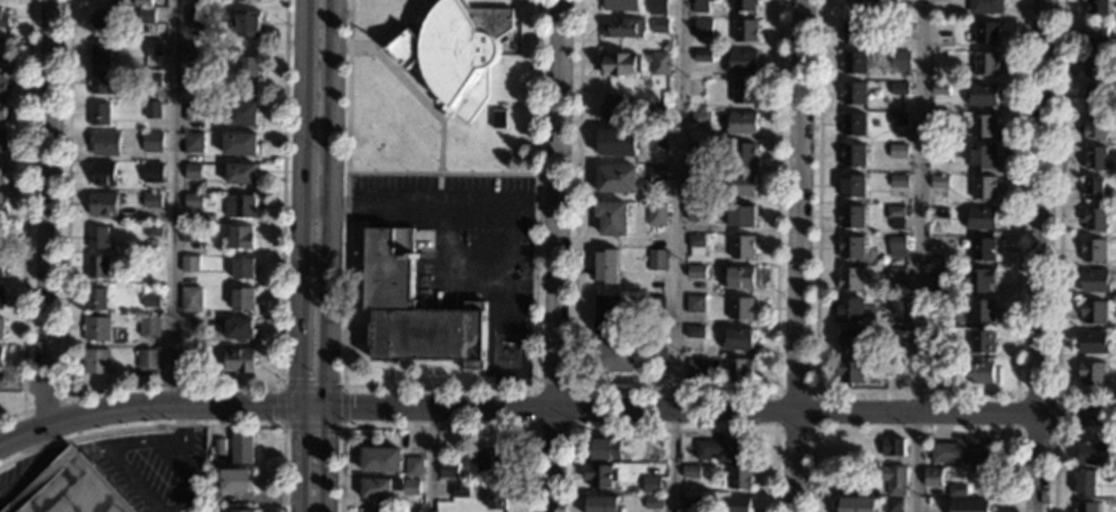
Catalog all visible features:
building: (251, 0)
building: (142, 3)
building: (868, 4)
building: (619, 6)
building: (699, 6)
building: (744, 6)
building: (985, 7)
building: (1096, 7)
building: (657, 8)
building: (881, 12)
road: (526, 13)
building: (148, 17)
building: (201, 18)
building: (105, 19)
building: (4, 20)
building: (247, 24)
building: (659, 26)
building: (622, 28)
building: (702, 28)
building: (898, 30)
building: (942, 30)
building: (744, 31)
building: (1095, 32)
building: (854, 33)
building: (986, 33)
building: (153, 47)
road: (360, 47)
building: (3, 48)
building: (100, 51)
building: (455, 53)
building: (701, 56)
building: (715, 56)
building: (899, 61)
building: (742, 63)
building: (195, 64)
building: (618, 64)
building: (659, 64)
building: (852, 64)
building: (986, 64)
building: (1092, 66)
building: (247, 70)
building: (151, 79)
building: (3, 81)
building: (104, 83)
road: (408, 86)
building: (898, 89)
building: (940, 89)
building: (743, 91)
building: (851, 95)
building: (981, 95)
building: (1092, 96)
building: (664, 97)
road: (302, 105)
road: (332, 106)
building: (613, 108)
building: (2, 111)
building: (152, 111)
building: (194, 111)
building: (243, 112)
building: (99, 115)
building: (656, 115)
building: (500, 118)
building: (700, 118)
building: (898, 120)
building: (938, 120)
building: (741, 123)
building: (851, 124)
building: (983, 126)
building: (1093, 128)
building: (657, 138)
building: (152, 141)
building: (3, 142)
building: (193, 142)
building: (618, 142)
building: (104, 143)
building: (239, 143)
building: (697, 149)
building: (898, 152)
building: (742, 154)
building: (938, 154)
building: (851, 155)
building: (981, 157)
building: (1095, 160)
building: (2, 172)
building: (152, 172)
building: (192, 172)
road: (441, 172)
building: (103, 173)
building: (240, 173)
building: (656, 175)
building: (615, 179)
building: (697, 181)
building: (898, 182)
building: (938, 183)
building: (740, 186)
building: (850, 186)
building: (983, 188)
building: (1092, 189)
building: (151, 200)
road: (174, 201)
building: (192, 201)
road: (477, 201)
building: (2, 204)
building: (101, 204)
building: (242, 207)
road: (315, 210)
road: (49, 211)
building: (894, 213)
road: (533, 214)
building: (695, 214)
building: (655, 215)
building: (739, 215)
road: (25, 217)
building: (611, 217)
building: (850, 217)
building: (980, 219)
building: (1093, 220)
road: (1058, 226)
building: (153, 230)
building: (190, 233)
building: (2, 235)
parking lot: (457, 236)
building: (97, 237)
building: (240, 237)
building: (423, 239)
road: (444, 243)
building: (695, 244)
building: (740, 247)
building: (849, 248)
building: (895, 248)
building: (981, 250)
building: (1092, 252)
road: (557, 255)
road: (676, 255)
road: (796, 255)
road: (922, 255)
road: (1041, 255)
building: (656, 260)
building: (190, 263)
building: (1, 266)
building: (605, 266)
building: (97, 268)
building: (243, 268)
building: (696, 273)
building: (738, 279)
building: (849, 280)
building: (897, 281)
building: (978, 281)
building: (936, 282)
building: (1094, 282)
building: (1, 297)
building: (95, 299)
building: (243, 299)
building: (150, 301)
building: (192, 301)
building: (694, 304)
building: (897, 305)
road: (299, 306)
road: (329, 307)
building: (654, 308)
building: (739, 308)
building: (846, 308)
building: (415, 309)
building: (981, 313)
building: (1092, 313)
building: (607, 315)
building: (0, 327)
building: (148, 327)
building: (96, 329)
building: (239, 330)
building: (694, 333)
building: (894, 336)
building: (738, 339)
building: (852, 340)
building: (981, 341)
building: (1092, 342)
building: (655, 356)
building: (0, 357)
building: (187, 357)
building: (148, 359)
building: (611, 359)
building: (239, 360)
building: (96, 361)
building: (695, 367)
building: (893, 369)
building: (738, 370)
building: (848, 371)
building: (935, 371)
building: (978, 373)
building: (1090, 373)
road: (168, 383)
building: (903, 383)
road: (340, 386)
road: (438, 386)
road: (570, 389)
road: (674, 390)
road: (814, 392)
road: (915, 392)
road: (1017, 393)
road: (65, 396)
road: (312, 403)
road: (146, 405)
road: (721, 407)
road: (183, 422)
road: (182, 424)
road: (437, 427)
road: (670, 428)
road: (913, 432)
road: (141, 439)
road: (1053, 442)
building: (891, 446)
building: (221, 447)
building: (602, 448)
building: (243, 449)
building: (723, 449)
building: (963, 451)
building: (1095, 453)
road: (297, 457)
road: (325, 457)
road: (431, 458)
building: (380, 459)
building: (487, 459)
road: (31, 464)
building: (412, 464)
building: (448, 470)
building: (690, 470)
building: (599, 475)
building: (739, 476)
building: (931, 478)
building: (893, 479)
building: (236, 481)
building: (1084, 481)
building: (651, 484)
building: (388, 486)
building: (71, 489)
parking garage: (71, 489)
building: (458, 490)
building: (955, 491)
building: (494, 495)
building: (214, 498)
building: (690, 502)
building: (653, 503)
building: (602, 504)
building: (737, 504)
building: (854, 504)
building: (892, 505)
building: (968, 505)
building: (1085, 508)
building: (240, 511)
building: (409, 511)

